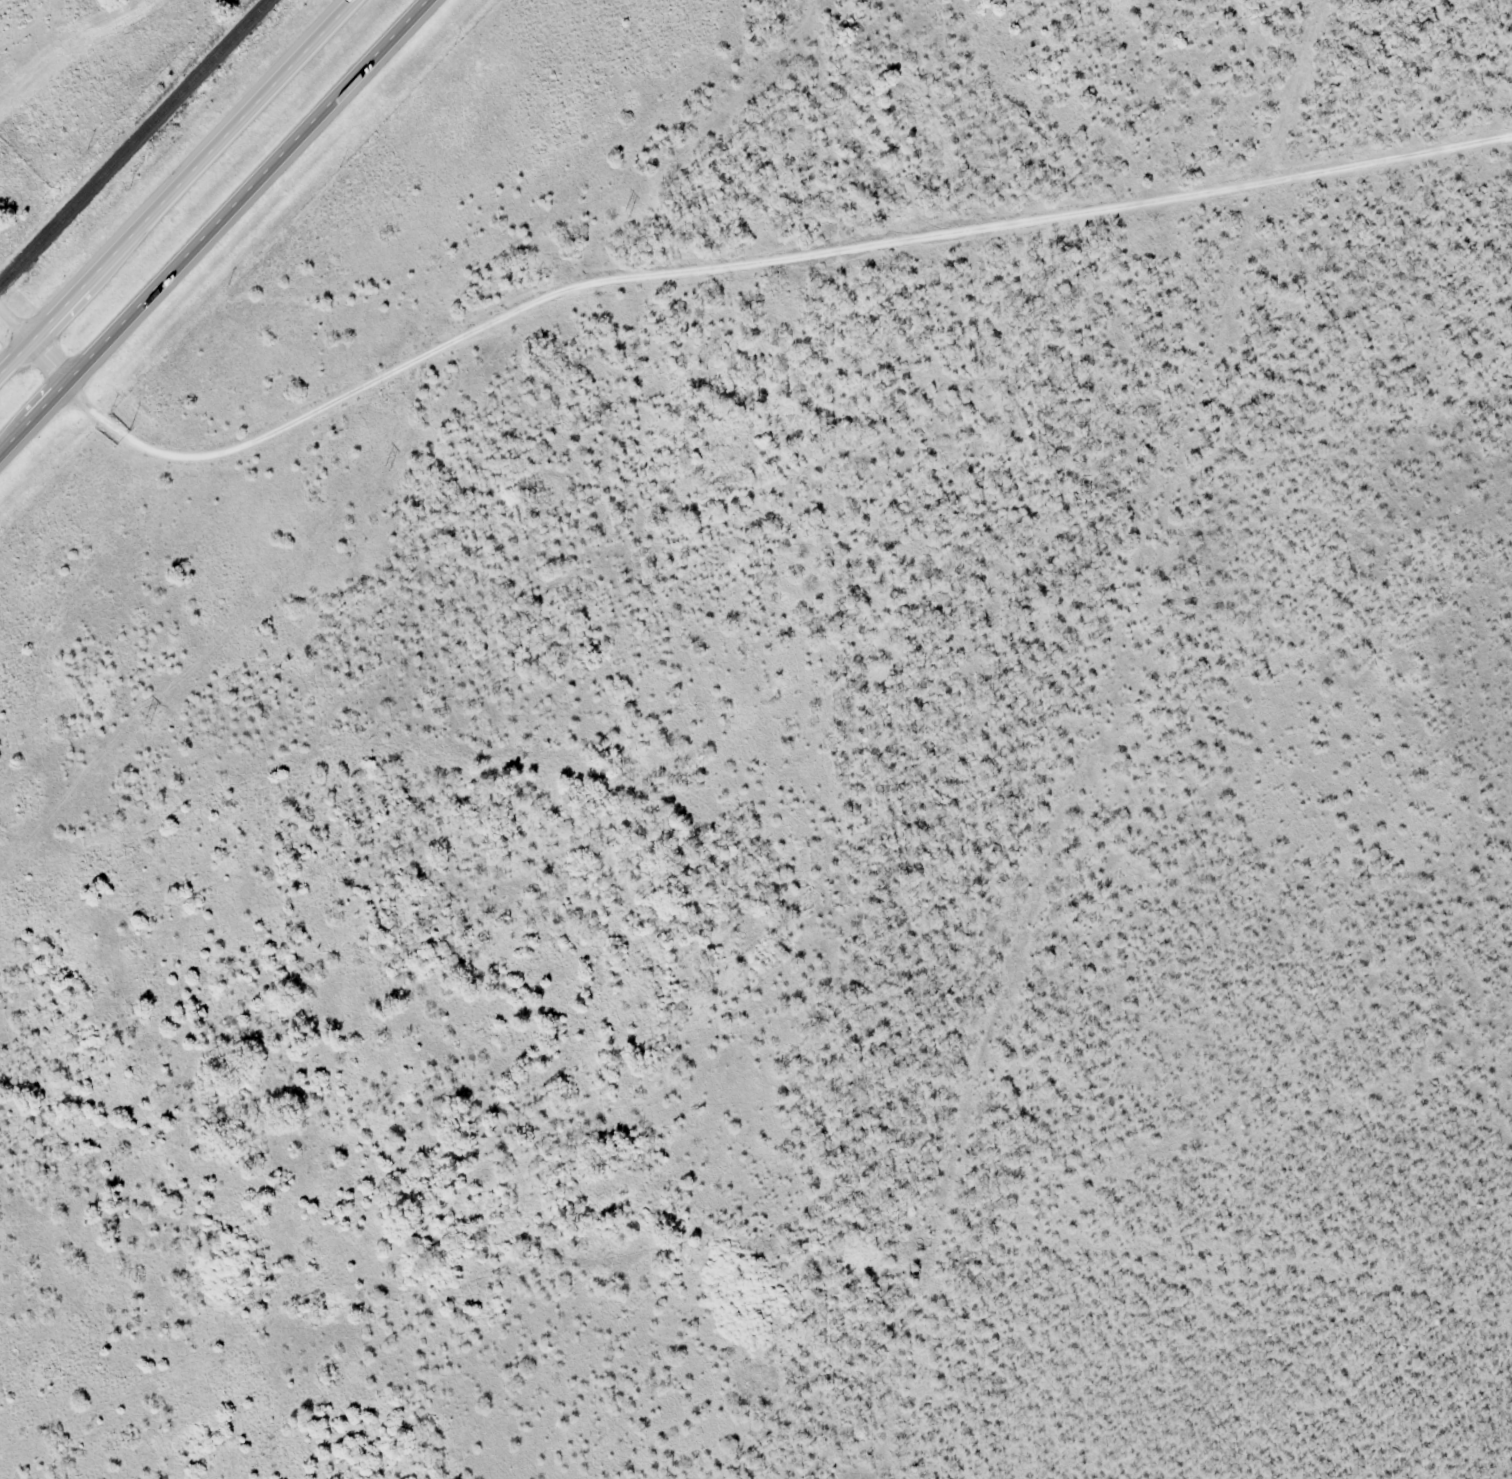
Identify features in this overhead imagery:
railway: (134, 143)
road: (179, 187)
power tower: (627, 212)
road: (214, 224)
road: (760, 265)
road: (33, 343)
power tower: (388, 468)
power tower: (148, 723)

